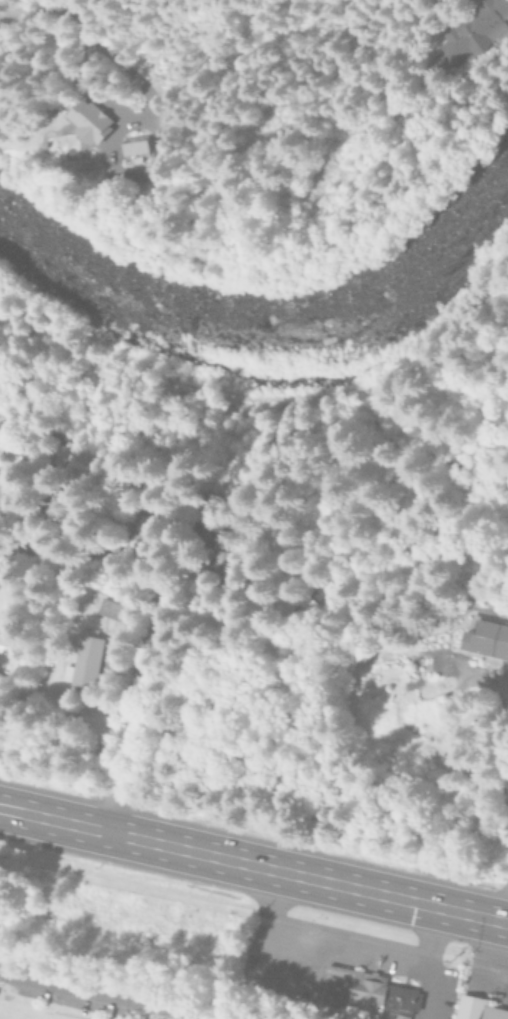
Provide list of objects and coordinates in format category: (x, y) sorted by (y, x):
building: (472, 31)
building: (83, 121)
building: (129, 146)
river: (270, 318)
building: (0, 477)
building: (147, 528)
building: (113, 610)
road: (149, 632)
building: (486, 639)
building: (6, 644)
building: (84, 664)
road: (498, 796)
road: (253, 863)
road: (503, 901)
road: (399, 954)
road: (487, 962)
road: (280, 984)
road: (428, 990)
road: (110, 991)
building: (374, 995)
building: (477, 1006)
park: (37, 1011)

